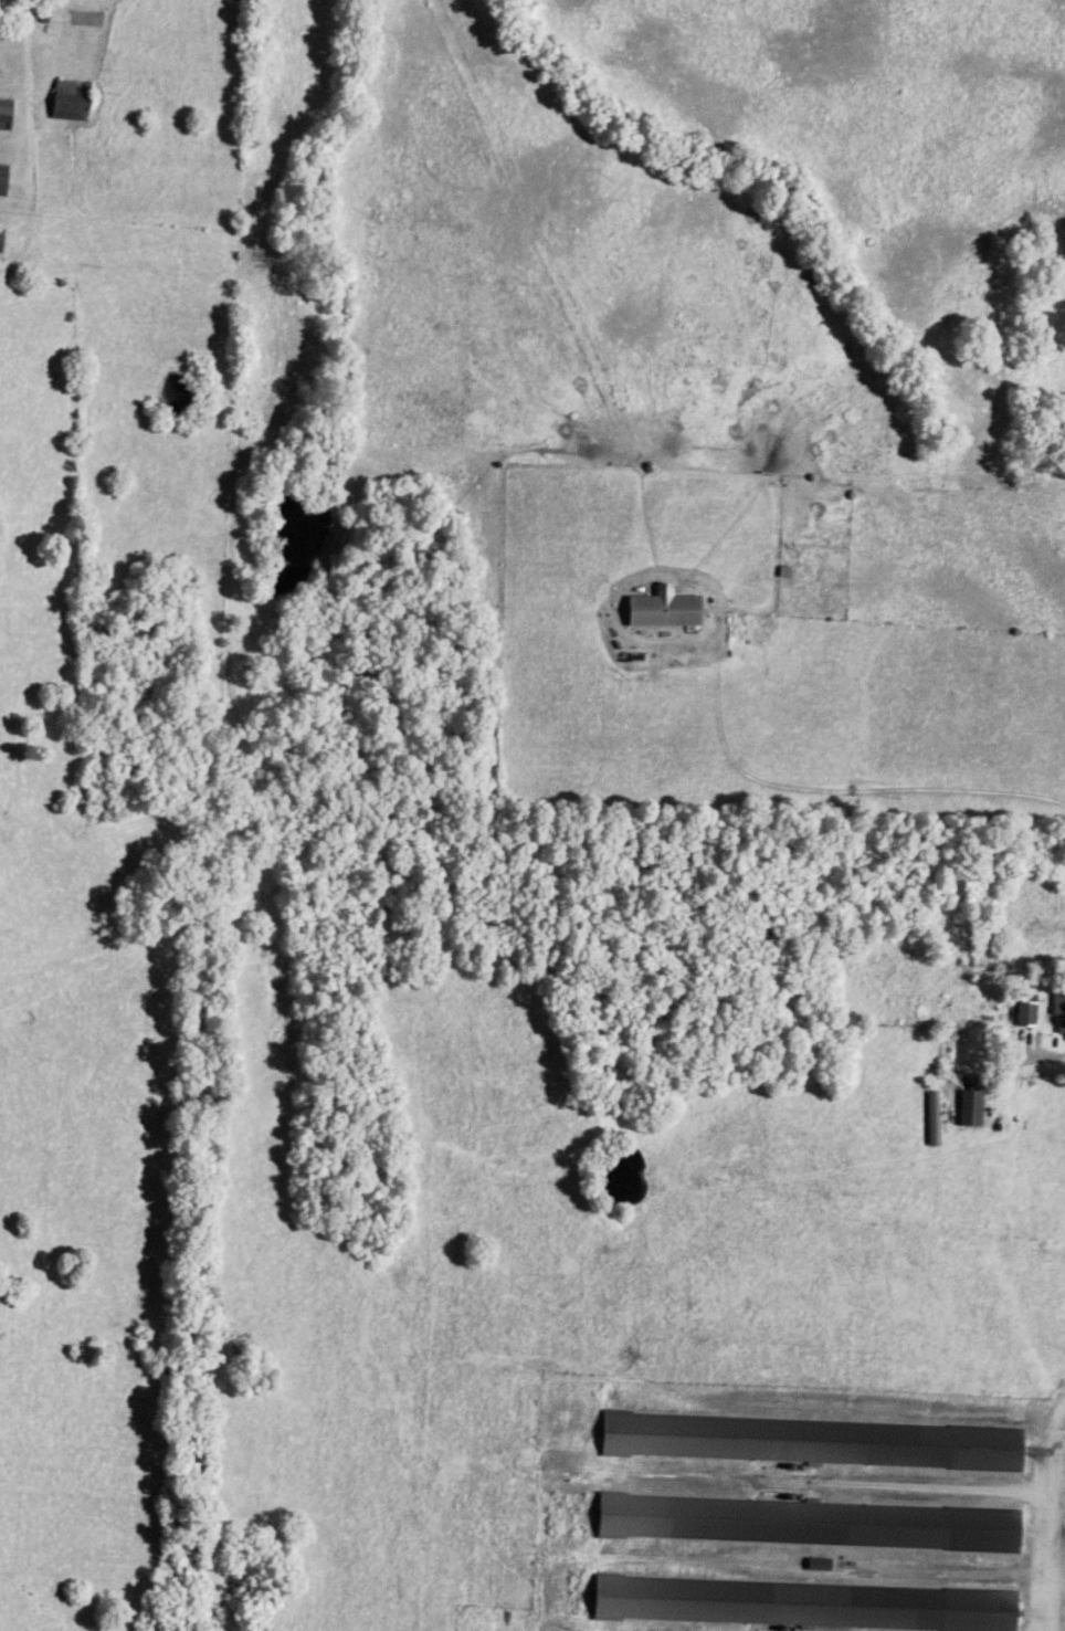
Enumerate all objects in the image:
building: (68, 103)
building: (4, 116)
building: (2, 181)
building: (0, 239)
building: (662, 611)
road: (824, 789)
building: (1024, 1013)
building: (1058, 1013)
road: (1034, 1052)
building: (968, 1111)

